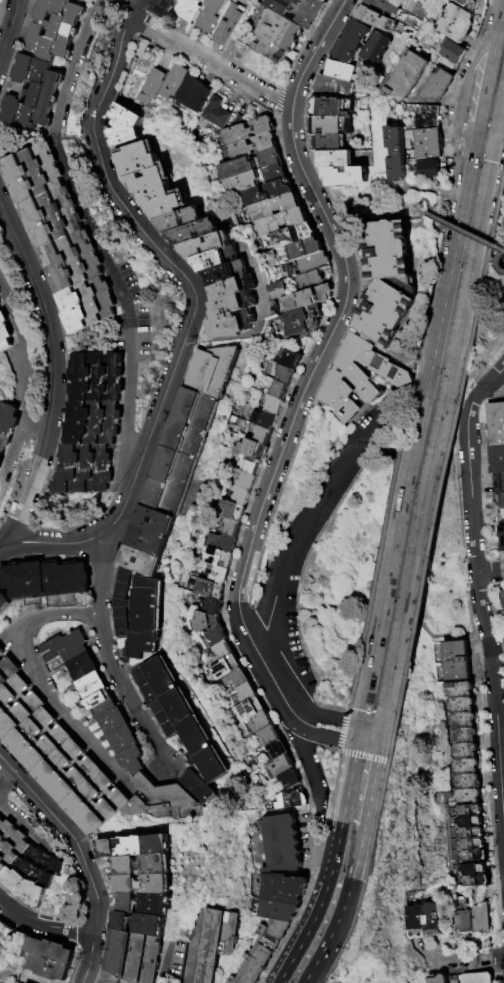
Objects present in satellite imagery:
building: (328, 1)
building: (399, 2)
building: (469, 4)
building: (165, 8)
building: (386, 9)
building: (189, 10)
building: (301, 11)
building: (212, 15)
building: (377, 20)
building: (459, 23)
building: (230, 24)
road: (8, 26)
building: (54, 30)
building: (280, 30)
building: (364, 44)
building: (270, 50)
building: (455, 53)
road: (213, 61)
road: (490, 69)
building: (343, 71)
building: (140, 75)
building: (409, 77)
building: (175, 82)
road: (463, 83)
building: (334, 86)
building: (439, 86)
building: (154, 87)
building: (33, 94)
building: (195, 95)
road: (421, 103)
building: (333, 108)
road: (500, 110)
building: (216, 115)
building: (428, 117)
building: (126, 126)
building: (333, 126)
traffic signals: (497, 129)
building: (249, 131)
road: (54, 132)
road: (488, 136)
traffic signals: (477, 138)
building: (329, 143)
building: (430, 144)
building: (253, 146)
building: (400, 158)
building: (337, 159)
building: (250, 165)
building: (430, 169)
building: (34, 173)
building: (346, 176)
building: (257, 179)
building: (152, 180)
road: (434, 191)
building: (269, 193)
road: (482, 204)
building: (274, 208)
road: (421, 211)
road: (368, 216)
building: (54, 217)
building: (182, 220)
building: (282, 222)
road: (430, 224)
road: (463, 231)
building: (196, 232)
building: (292, 236)
building: (207, 246)
building: (305, 249)
road: (479, 257)
building: (217, 259)
road: (492, 260)
building: (74, 261)
road: (497, 262)
road: (497, 262)
building: (314, 263)
road: (497, 263)
road: (451, 268)
building: (228, 273)
building: (312, 279)
building: (388, 282)
building: (234, 288)
building: (0, 295)
building: (309, 298)
building: (0, 304)
building: (88, 305)
road: (196, 308)
road: (125, 310)
building: (234, 316)
building: (306, 321)
road: (459, 322)
road: (263, 328)
road: (334, 328)
building: (5, 333)
building: (292, 360)
building: (215, 371)
road: (53, 372)
building: (286, 375)
building: (99, 377)
building: (359, 377)
road: (25, 384)
road: (494, 388)
building: (280, 390)
road: (407, 402)
building: (275, 405)
road: (129, 417)
building: (265, 420)
building: (94, 423)
building: (497, 423)
building: (8, 424)
road: (34, 429)
building: (263, 436)
building: (252, 450)
building: (183, 452)
building: (0, 456)
building: (497, 459)
building: (1, 466)
building: (253, 466)
building: (86, 470)
building: (248, 480)
building: (500, 490)
building: (242, 495)
building: (234, 511)
building: (156, 523)
building: (232, 529)
road: (308, 530)
building: (502, 534)
road: (417, 535)
building: (148, 544)
building: (221, 544)
road: (395, 550)
building: (218, 559)
building: (142, 563)
road: (490, 572)
building: (220, 576)
building: (47, 580)
road: (477, 585)
building: (210, 589)
building: (503, 594)
building: (4, 601)
building: (124, 603)
building: (210, 607)
building: (147, 618)
building: (204, 622)
building: (217, 635)
building: (503, 641)
building: (224, 650)
building: (2, 652)
road: (107, 652)
building: (459, 662)
building: (227, 668)
building: (8, 672)
building: (239, 679)
road: (41, 682)
road: (283, 688)
building: (247, 693)
building: (18, 706)
building: (251, 709)
road: (363, 713)
building: (181, 717)
road: (385, 717)
building: (111, 718)
road: (344, 720)
building: (263, 722)
traffic signals: (361, 724)
traffic signals: (384, 728)
road: (359, 734)
building: (271, 735)
road: (325, 737)
road: (382, 738)
building: (40, 741)
traffic signals: (357, 744)
road: (369, 746)
traffic signals: (381, 748)
building: (465, 748)
building: (279, 749)
building: (128, 750)
road: (307, 755)
building: (282, 767)
building: (69, 772)
road: (6, 778)
building: (291, 779)
road: (373, 788)
building: (200, 789)
building: (157, 797)
building: (292, 800)
building: (98, 803)
building: (473, 812)
building: (474, 823)
road: (27, 829)
road: (69, 834)
building: (475, 834)
road: (314, 835)
building: (283, 844)
building: (10, 846)
building: (475, 846)
building: (135, 847)
road: (360, 854)
building: (476, 857)
building: (144, 865)
road: (332, 868)
building: (477, 871)
building: (34, 875)
building: (478, 882)
building: (147, 885)
building: (285, 889)
building: (148, 904)
building: (279, 911)
building: (461, 912)
building: (478, 914)
building: (413, 918)
building: (430, 918)
building: (140, 924)
road: (337, 924)
road: (43, 925)
building: (17, 941)
building: (221, 945)
building: (265, 951)
road: (465, 953)
road: (89, 957)
building: (137, 957)
building: (52, 960)
road: (170, 963)
road: (309, 974)
road: (314, 974)
building: (474, 977)
building: (115, 978)
building: (436, 978)
building: (21, 982)

